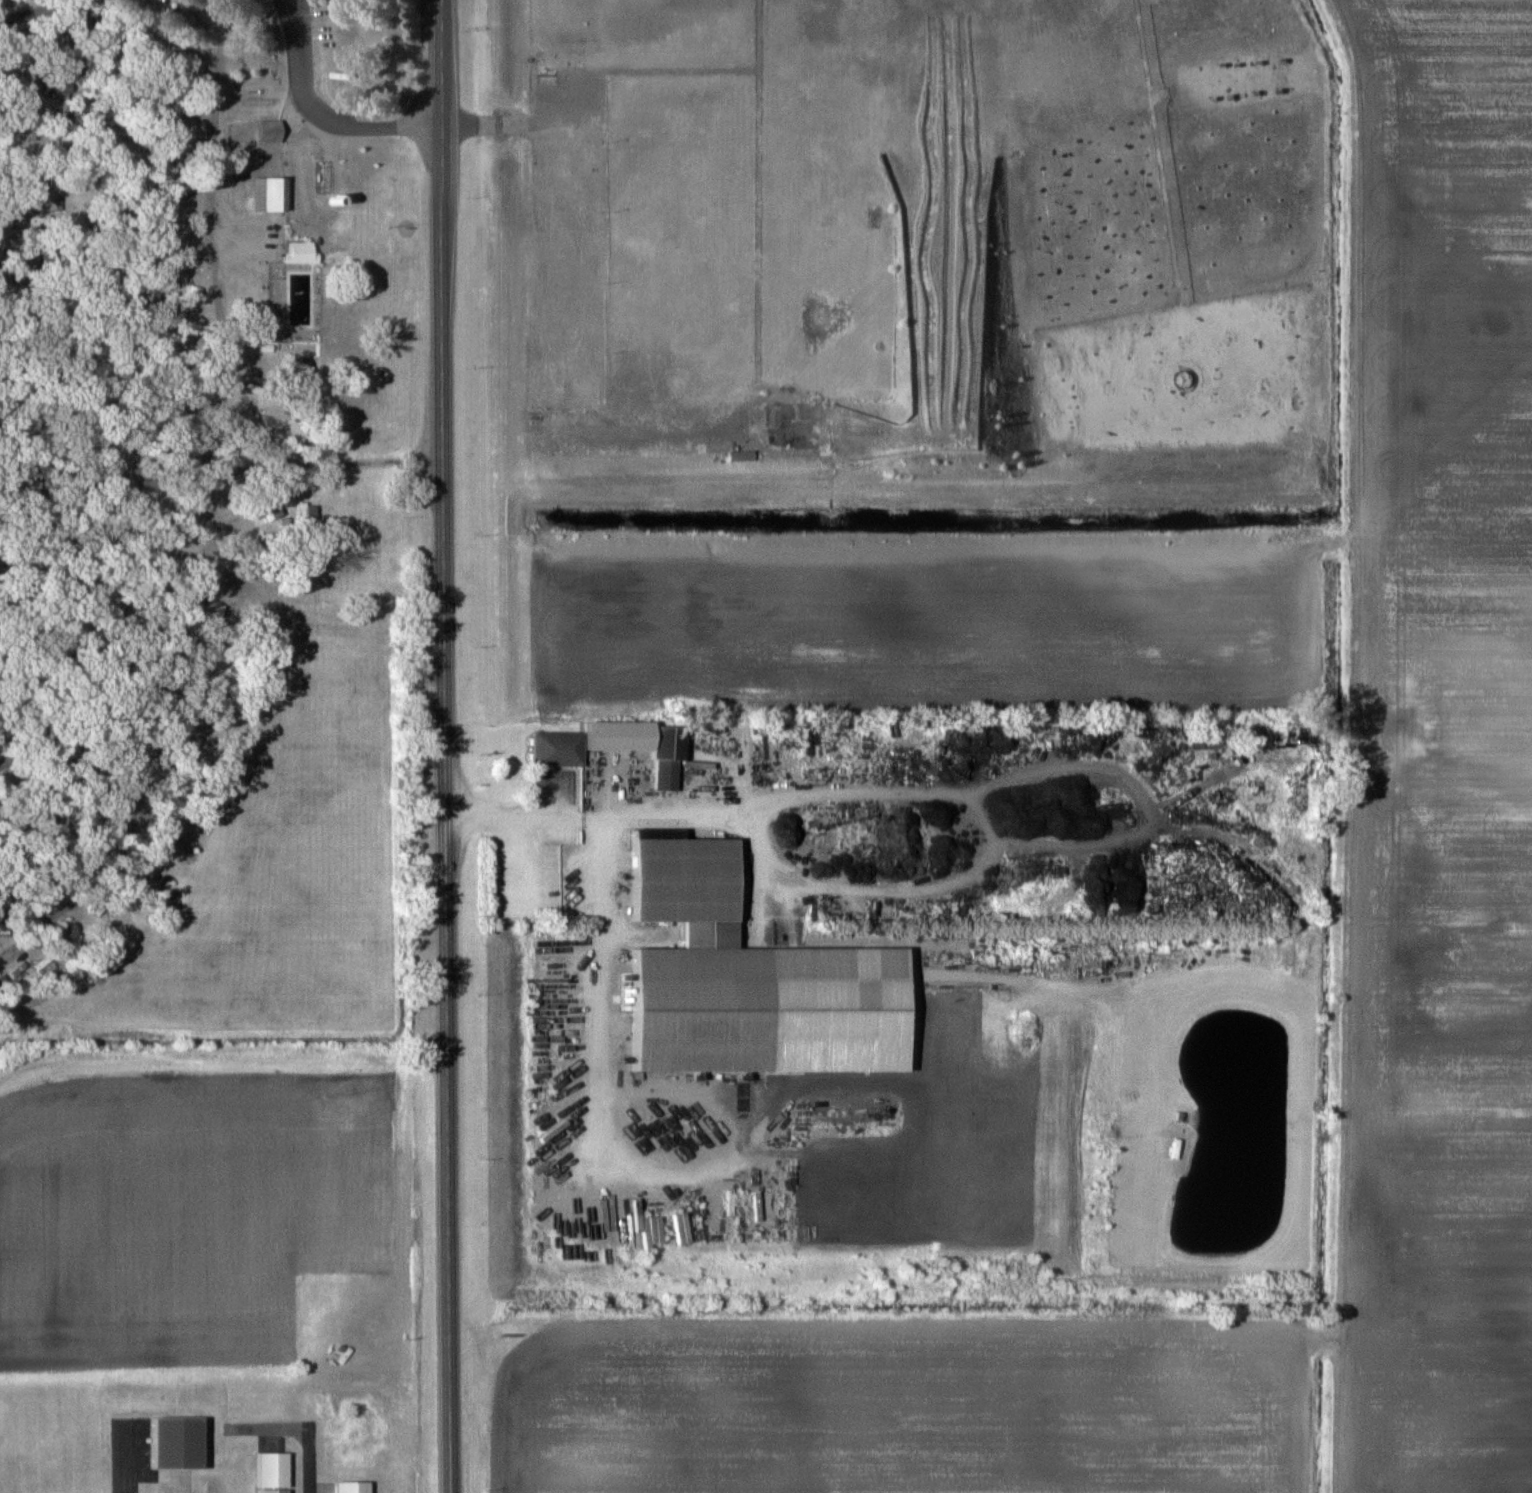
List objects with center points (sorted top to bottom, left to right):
road: (284, 15)
building: (60, 39)
road: (332, 122)
building: (18, 129)
building: (270, 131)
building: (269, 194)
building: (301, 253)
building: (302, 363)
building: (267, 507)
building: (643, 743)
road: (444, 746)
building: (558, 748)
road: (564, 813)
building: (165, 825)
building: (99, 849)
building: (684, 876)
building: (3, 901)
building: (67, 934)
building: (45, 967)
building: (0, 999)
building: (703, 1008)
building: (176, 1442)
building: (273, 1472)
building: (352, 1486)

